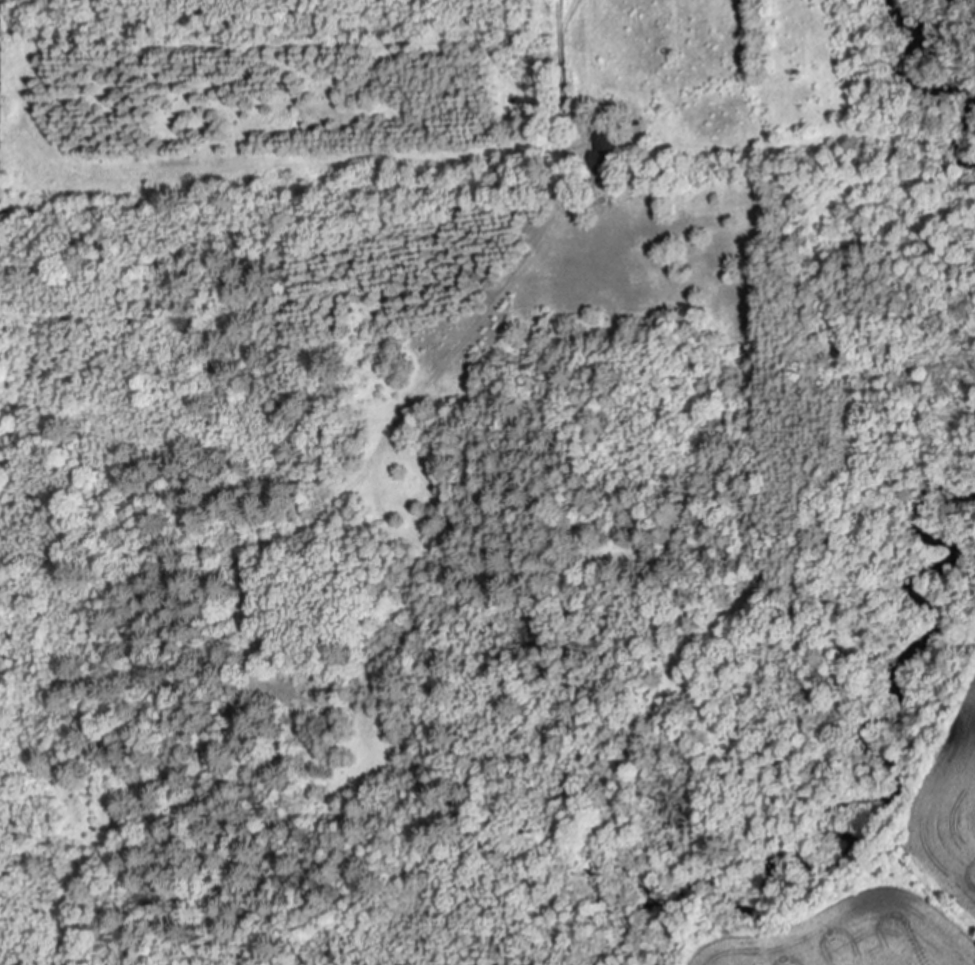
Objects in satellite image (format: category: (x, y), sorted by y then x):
river: (928, 98)
building: (603, 150)
river: (851, 831)

